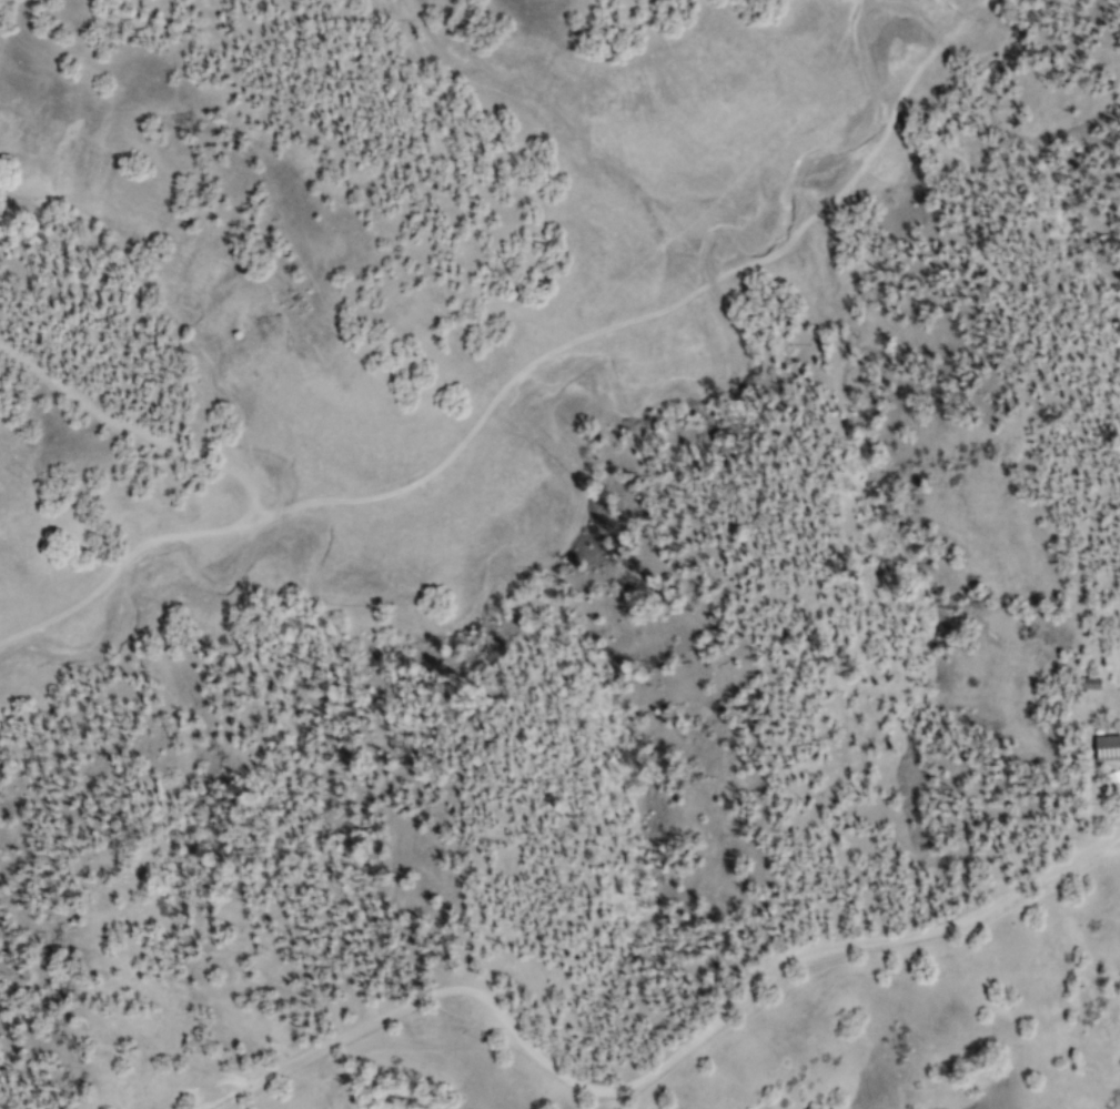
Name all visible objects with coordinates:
building: (1108, 746)

